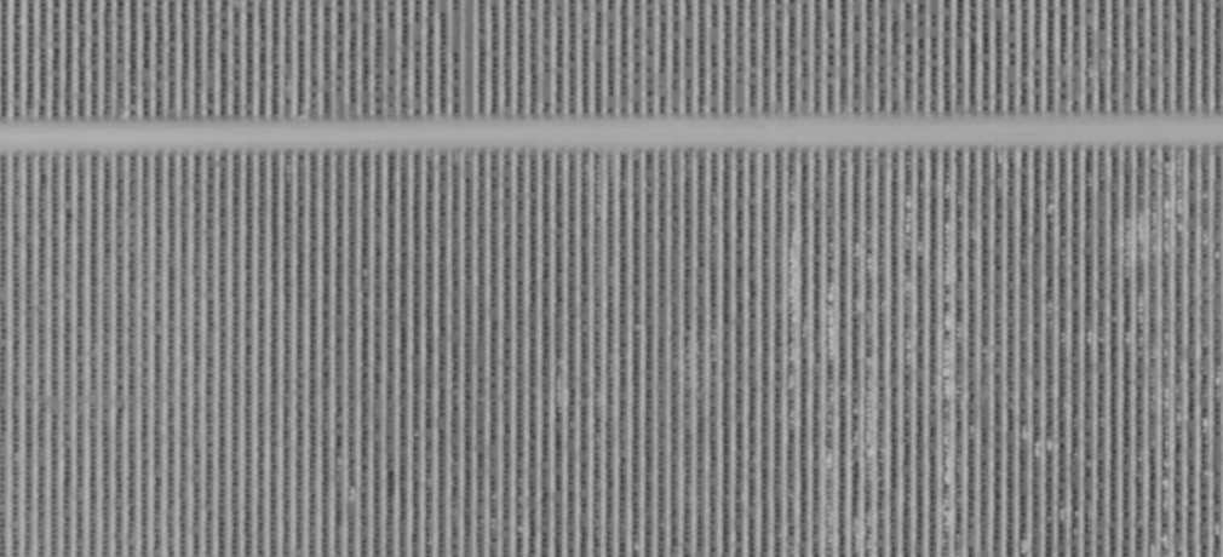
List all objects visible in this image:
road: (610, 136)

